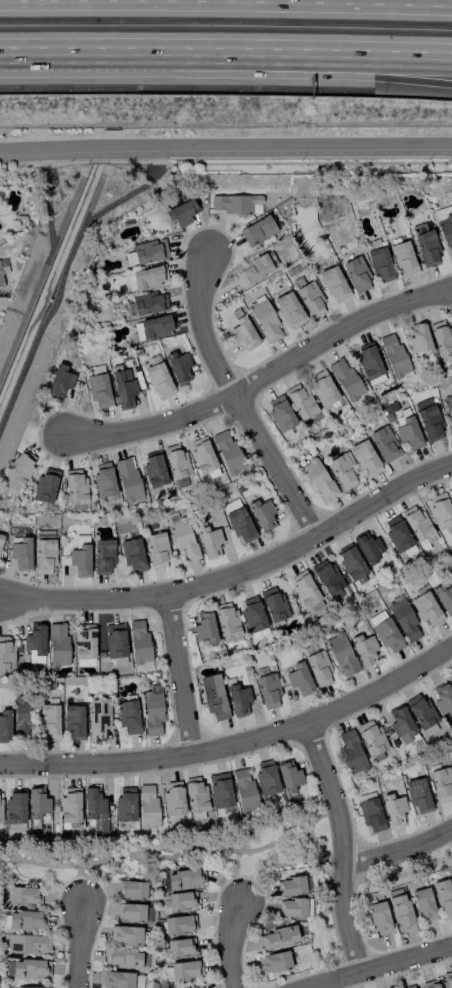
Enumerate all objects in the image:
road: (53, 54)
road: (279, 59)
road: (278, 74)
road: (226, 145)
building: (236, 203)
building: (180, 210)
building: (257, 230)
building: (447, 233)
building: (425, 245)
building: (149, 250)
building: (403, 258)
building: (379, 263)
road: (45, 265)
building: (256, 268)
road: (64, 270)
building: (356, 274)
building: (148, 277)
building: (333, 283)
building: (310, 299)
building: (149, 302)
building: (289, 309)
road: (12, 310)
building: (264, 319)
building: (152, 327)
building: (243, 332)
building: (441, 337)
building: (418, 339)
building: (393, 355)
building: (368, 363)
building: (178, 366)
road: (264, 377)
building: (59, 380)
building: (158, 380)
building: (345, 380)
building: (123, 388)
building: (322, 388)
building: (98, 389)
road: (236, 398)
building: (299, 400)
building: (448, 408)
building: (279, 413)
building: (427, 418)
building: (384, 443)
building: (227, 451)
building: (201, 455)
building: (364, 457)
building: (176, 461)
building: (153, 468)
building: (342, 471)
building: (17, 472)
building: (127, 478)
building: (318, 479)
building: (103, 480)
building: (45, 485)
building: (451, 490)
building: (440, 511)
building: (261, 514)
building: (237, 521)
building: (416, 522)
building: (1, 538)
building: (183, 539)
building: (209, 542)
building: (367, 547)
building: (156, 549)
building: (21, 553)
building: (44, 555)
building: (103, 555)
building: (132, 555)
building: (80, 560)
building: (350, 562)
road: (237, 572)
building: (328, 580)
building: (304, 589)
building: (444, 598)
building: (273, 604)
building: (426, 609)
building: (252, 613)
building: (226, 620)
building: (404, 620)
building: (204, 626)
building: (387, 635)
building: (34, 642)
building: (84, 642)
building: (115, 642)
building: (139, 642)
building: (57, 644)
building: (364, 649)
building: (6, 653)
building: (341, 654)
building: (318, 668)
road: (182, 672)
building: (450, 677)
building: (299, 678)
building: (268, 691)
building: (213, 696)
building: (238, 699)
building: (442, 699)
building: (152, 711)
building: (22, 716)
building: (97, 717)
building: (128, 717)
building: (48, 721)
building: (73, 721)
building: (400, 723)
building: (4, 725)
building: (371, 738)
road: (235, 741)
building: (351, 752)
building: (265, 777)
building: (288, 777)
building: (440, 785)
building: (219, 789)
building: (244, 790)
building: (195, 794)
building: (418, 795)
building: (172, 798)
building: (36, 802)
building: (124, 804)
building: (69, 805)
building: (146, 806)
building: (94, 808)
building: (393, 808)
building: (15, 809)
building: (0, 810)
building: (371, 814)
road: (341, 843)
road: (154, 847)
road: (397, 850)
road: (355, 872)
road: (237, 876)
building: (185, 878)
road: (80, 884)
building: (292, 885)
building: (131, 889)
building: (22, 895)
building: (444, 897)
building: (180, 900)
building: (422, 903)
building: (291, 907)
building: (399, 909)
building: (131, 912)
building: (378, 916)
building: (26, 920)
building: (178, 924)
building: (124, 934)
building: (277, 937)
building: (28, 943)
road: (232, 944)
road: (81, 945)
building: (179, 947)
building: (122, 957)
building: (273, 961)
road: (375, 964)
building: (30, 968)
building: (185, 969)
building: (448, 979)
building: (122, 980)
road: (334, 983)
building: (430, 984)
building: (410, 986)
building: (33, 987)
building: (197, 987)

